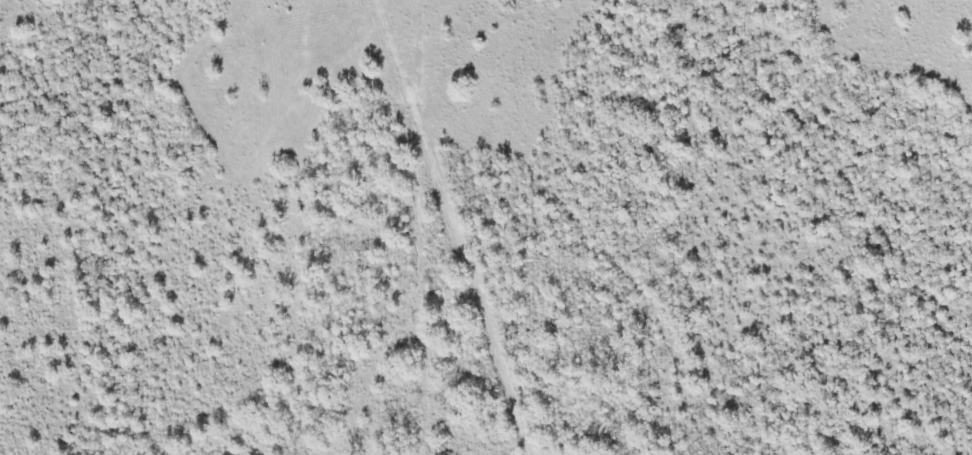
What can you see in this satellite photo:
road: (449, 227)

